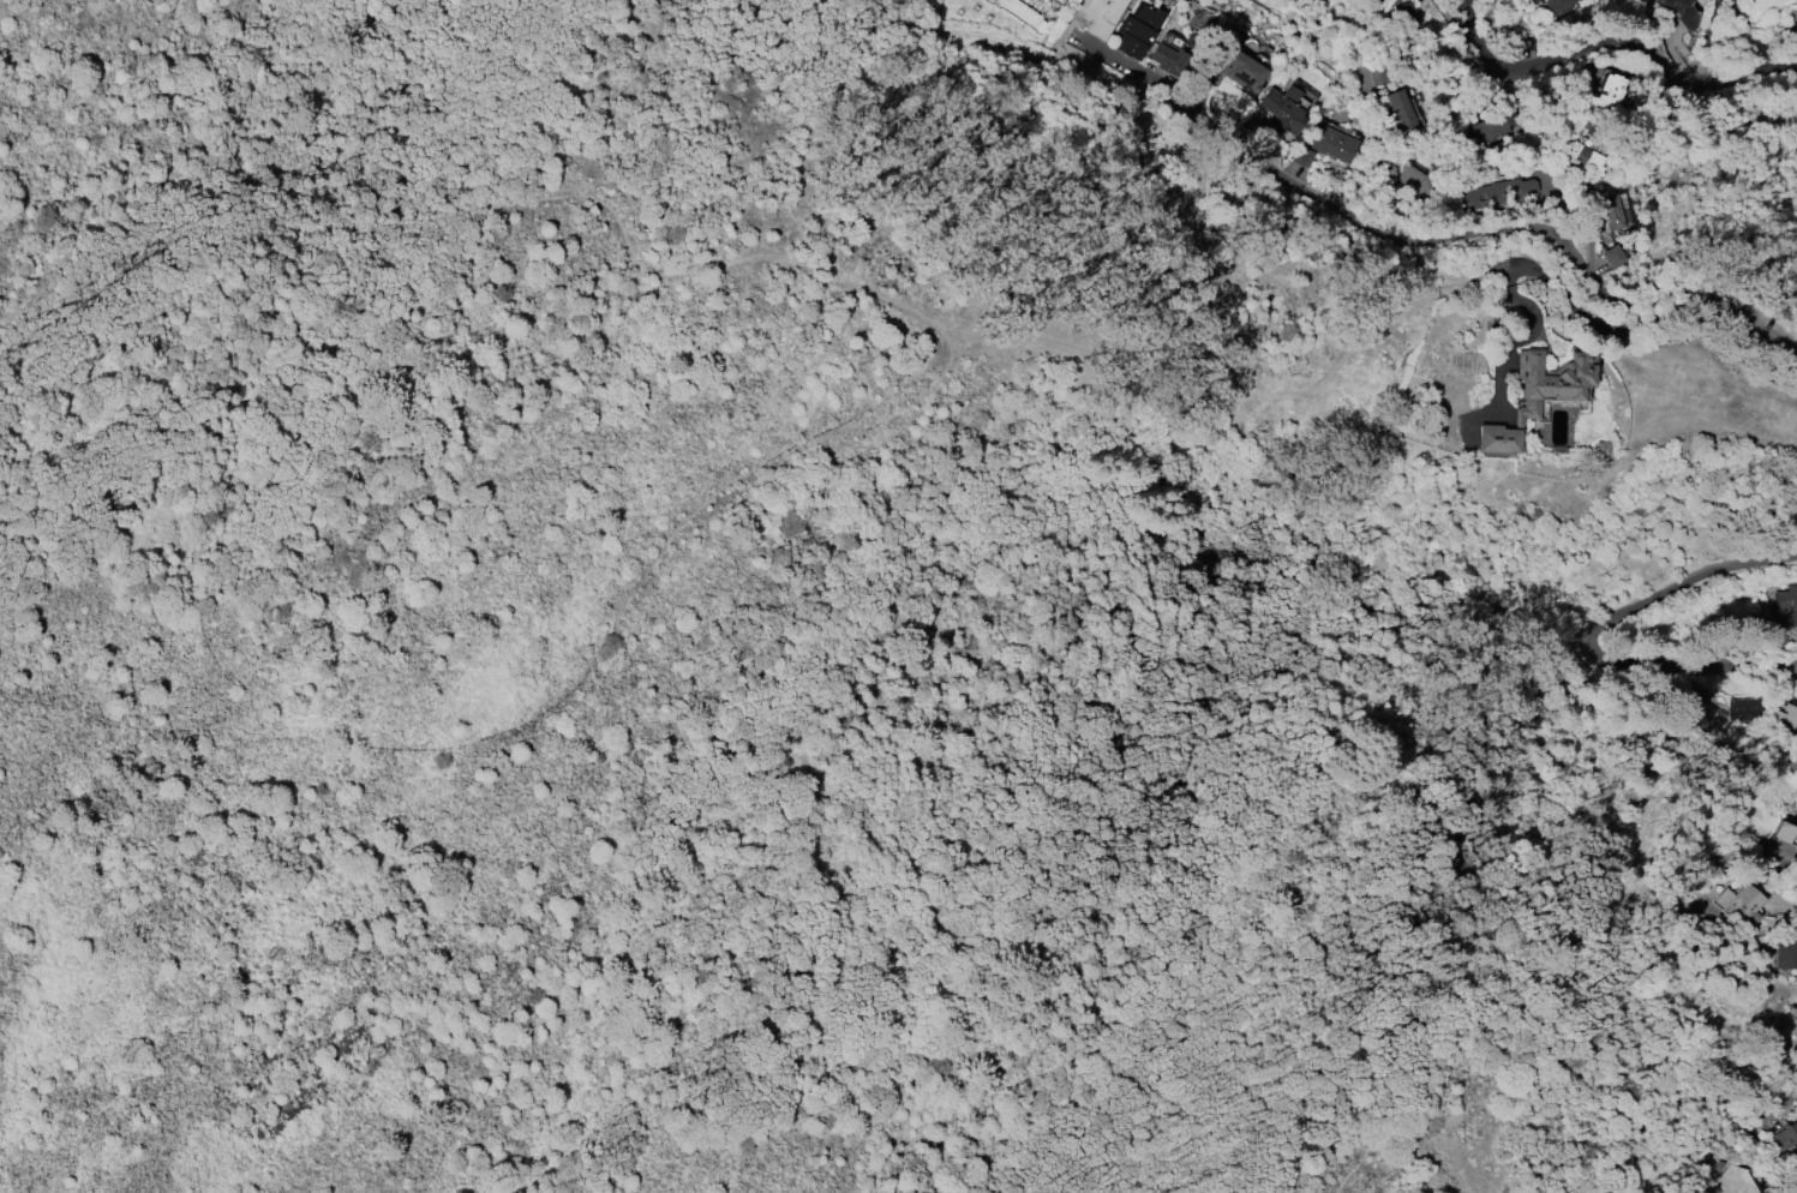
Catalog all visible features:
building: (1618, 0)
building: (1558, 7)
building: (1682, 11)
building: (1100, 14)
building: (1407, 19)
building: (1137, 30)
road: (995, 40)
road: (1622, 41)
building: (1170, 60)
building: (1234, 68)
building: (1378, 76)
building: (1609, 92)
road: (565, 97)
road: (224, 98)
building: (1282, 109)
building: (1403, 113)
building: (1494, 126)
building: (1331, 144)
building: (1300, 156)
building: (1585, 157)
road: (143, 179)
building: (1419, 182)
building: (1491, 192)
building: (1612, 212)
road: (1428, 240)
building: (1611, 257)
road: (317, 264)
road: (1606, 329)
road: (1052, 343)
building: (1538, 395)
road: (212, 431)
building: (1600, 448)
road: (376, 493)
building: (1785, 606)
road: (1239, 625)
road: (1593, 634)
road: (563, 702)
building: (1744, 708)
building: (1786, 718)
building: (1785, 832)
road: (983, 899)
road: (1592, 900)
building: (1742, 904)
building: (1786, 952)
building: (1741, 960)
building: (1785, 1137)
road: (1750, 1149)
building: (1737, 1181)

